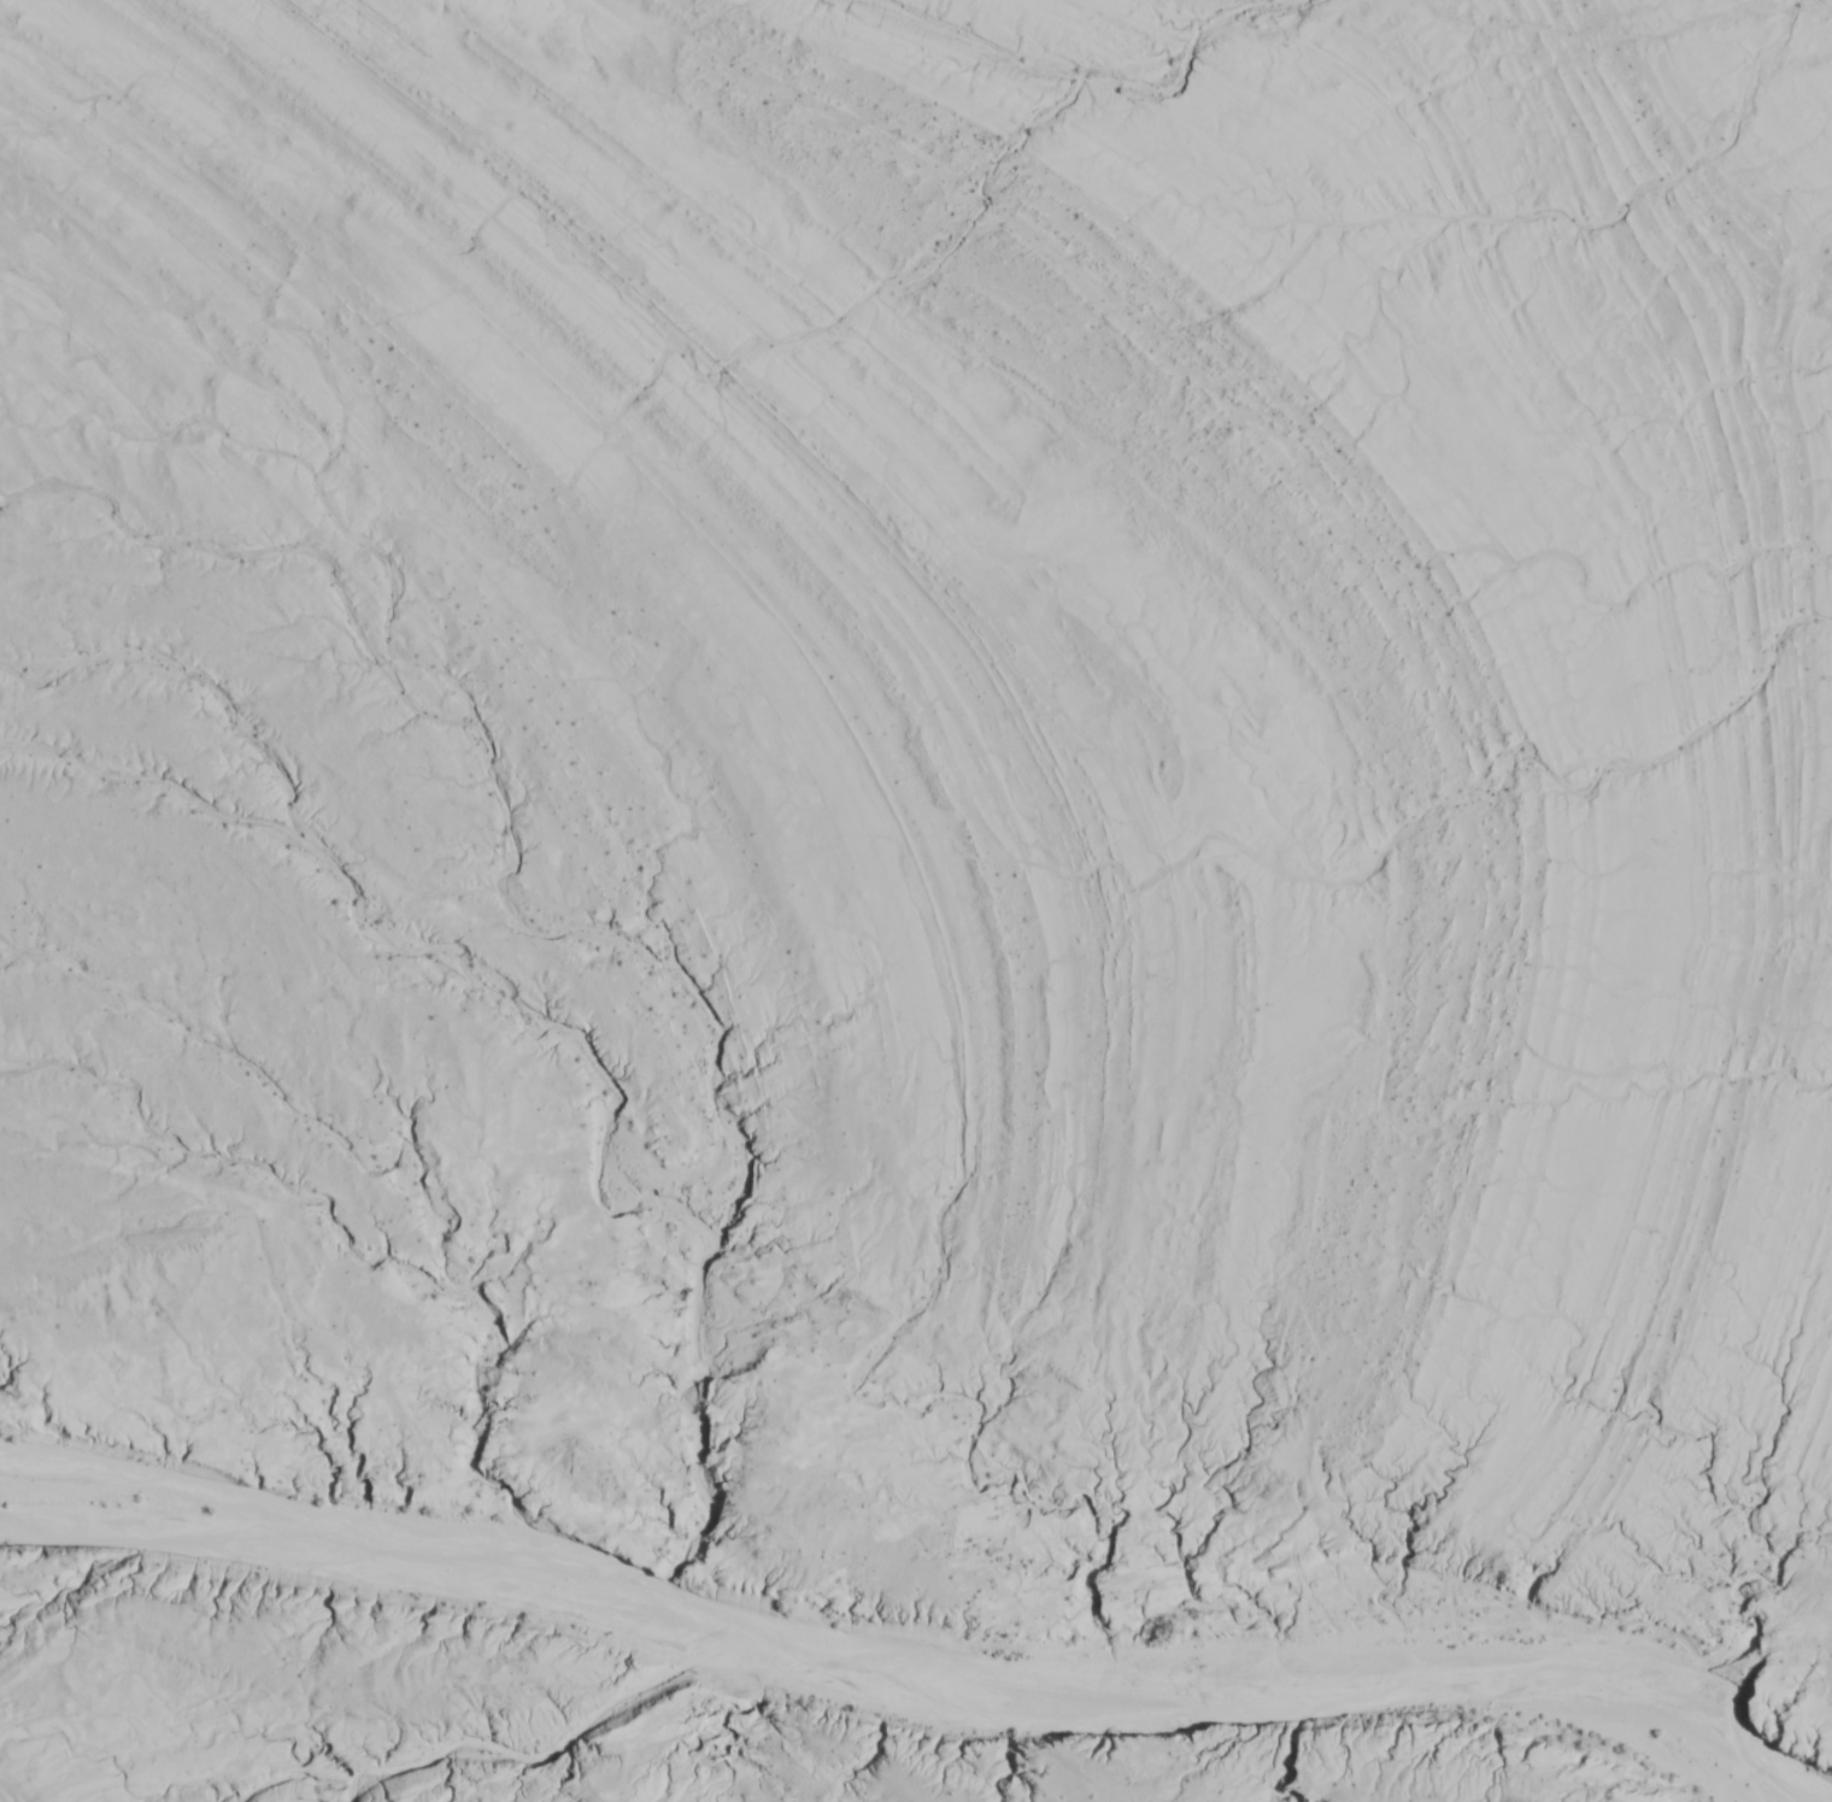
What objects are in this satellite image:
road: (916, 1662)

